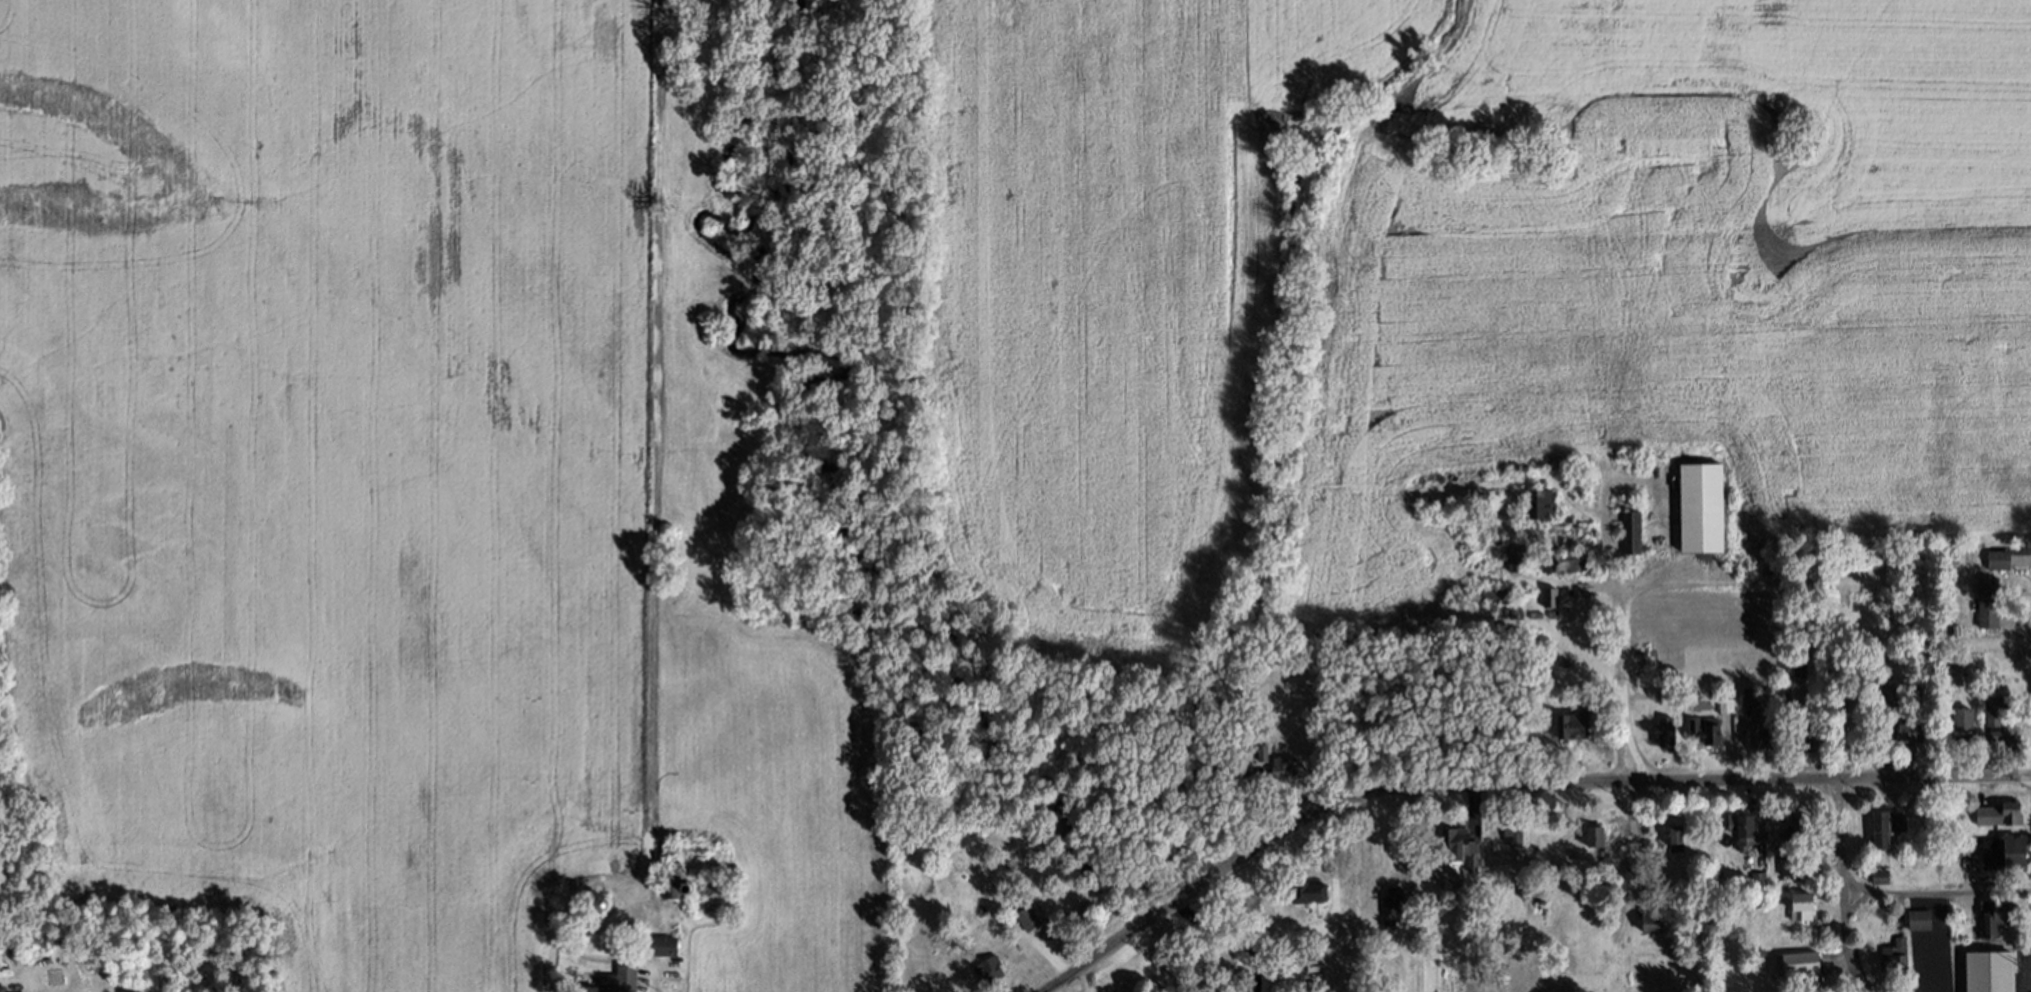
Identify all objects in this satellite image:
building: (1542, 503)
building: (1703, 509)
building: (1632, 532)
building: (1993, 557)
building: (1518, 559)
building: (1568, 561)
building: (1548, 596)
building: (1988, 600)
building: (1502, 601)
building: (1955, 664)
road: (1619, 682)
building: (1751, 695)
building: (1725, 704)
building: (1998, 723)
building: (1573, 724)
building: (1966, 724)
building: (1807, 726)
building: (1706, 729)
building: (1666, 731)
building: (1764, 731)
building: (1912, 731)
building: (1262, 754)
road: (1831, 760)
building: (1283, 767)
road: (1594, 779)
building: (2002, 812)
building: (1804, 823)
building: (1889, 825)
building: (1745, 828)
building: (1513, 833)
building: (1674, 836)
building: (1594, 839)
building: (1460, 843)
building: (2019, 850)
building: (1790, 861)
building: (1881, 874)
building: (671, 886)
building: (1528, 888)
road: (1937, 889)
building: (1304, 890)
road: (1169, 902)
building: (1390, 903)
building: (1805, 904)
building: (1027, 918)
building: (1920, 920)
building: (1999, 920)
building: (1654, 922)
road: (1843, 938)
building: (661, 946)
road: (1097, 952)
building: (1895, 954)
building: (1928, 954)
building: (1799, 961)
building: (986, 971)
building: (1994, 972)
road: (649, 977)
building: (619, 980)

